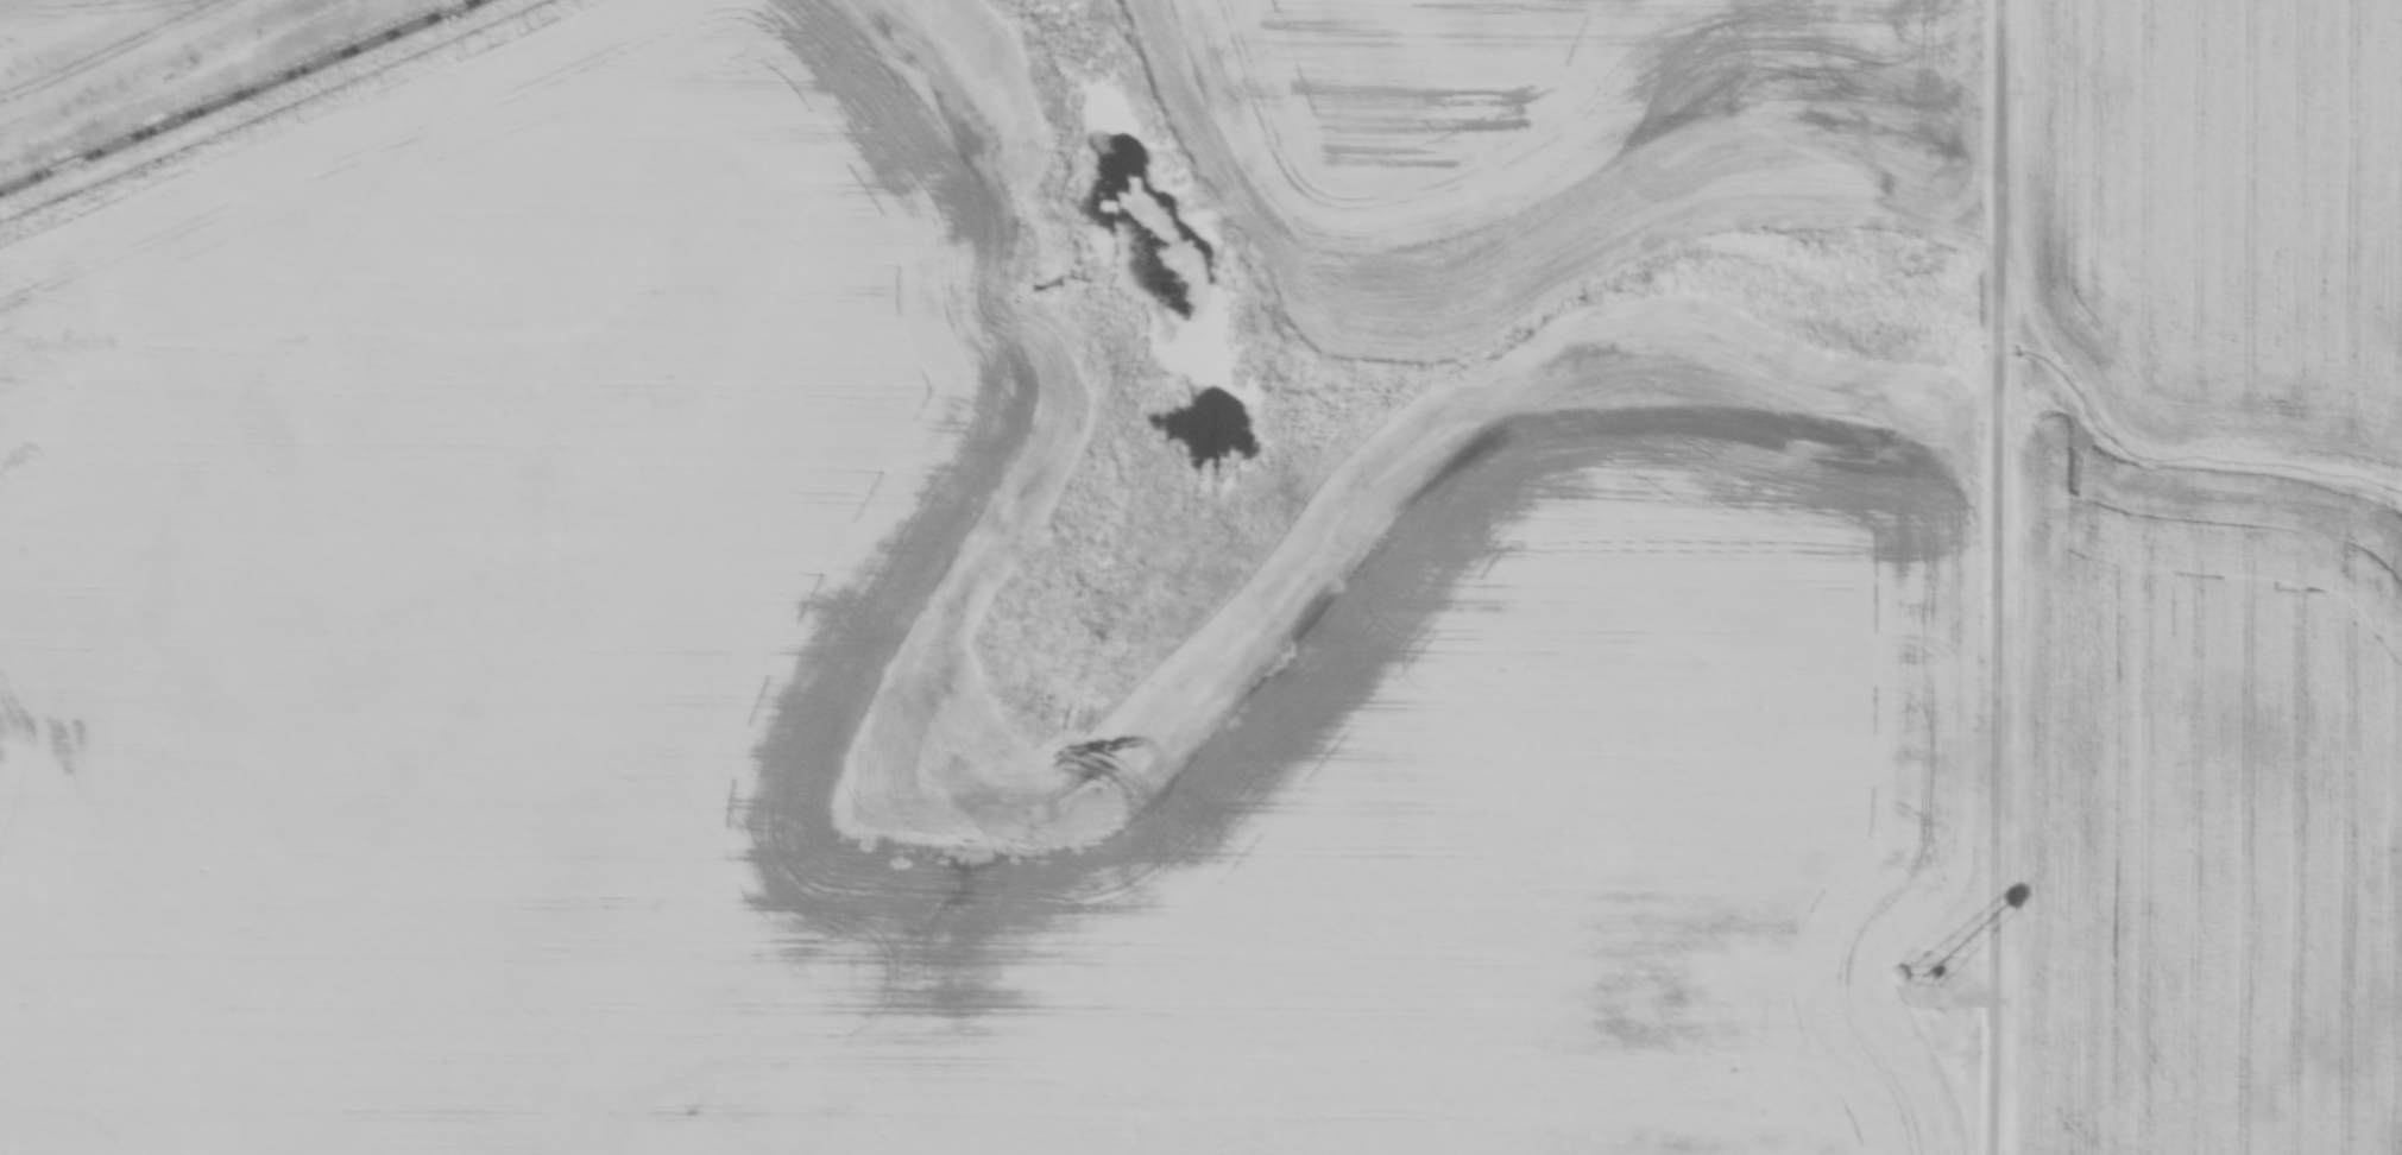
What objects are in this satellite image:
railway: (226, 91)
road: (1993, 576)

